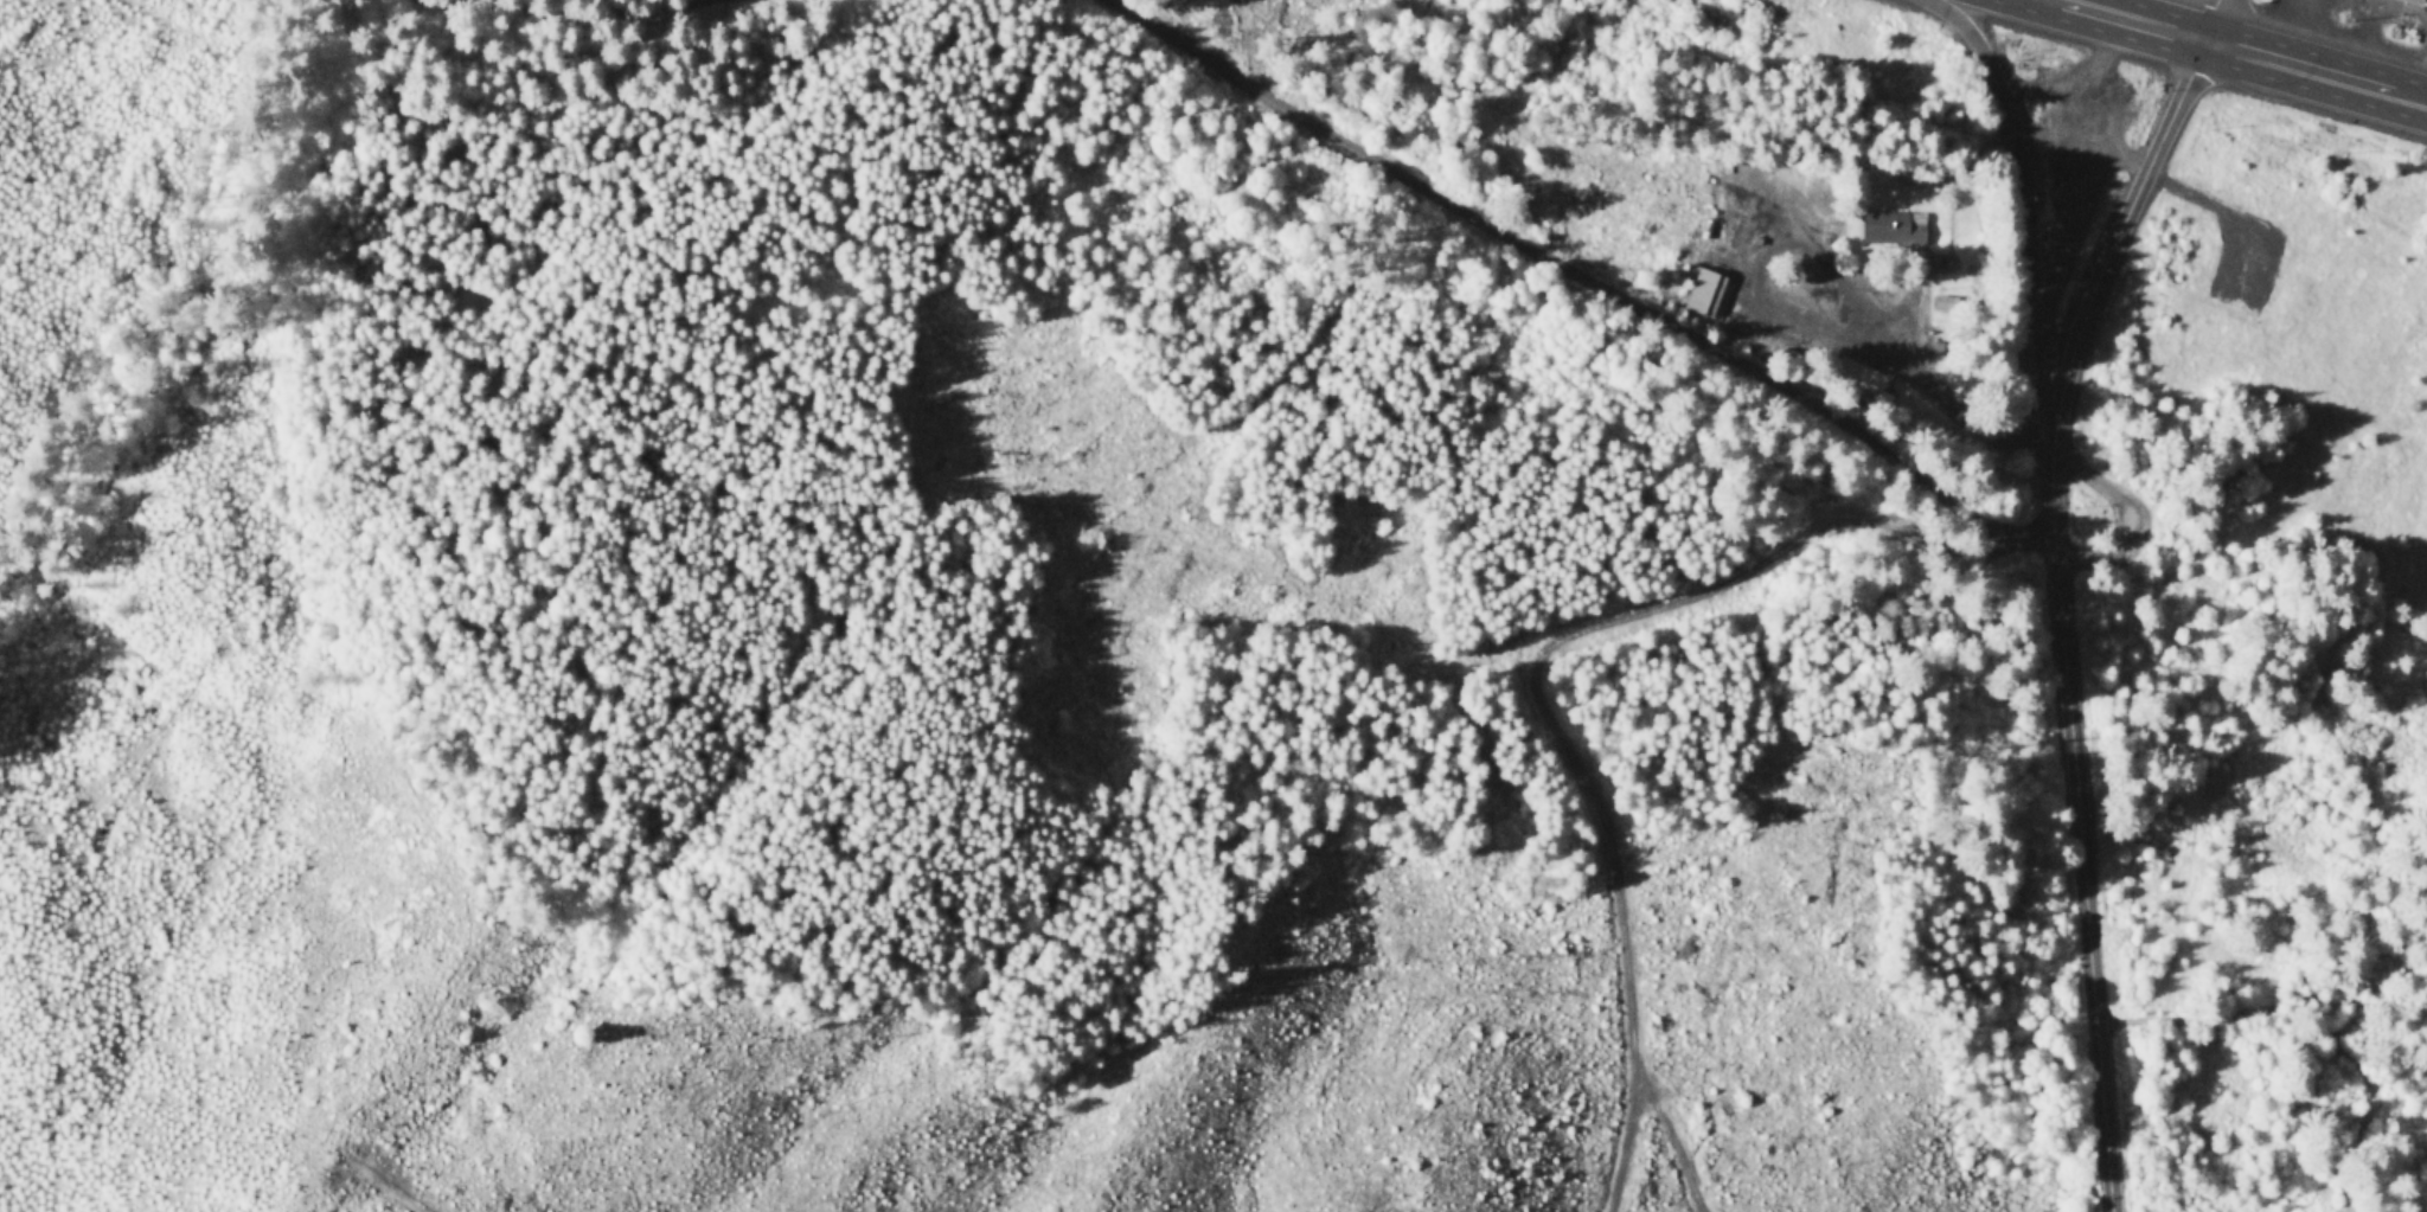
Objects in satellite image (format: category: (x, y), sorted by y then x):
building: (2419, 1)
road: (2210, 15)
road: (2143, 17)
road: (562, 18)
road: (2297, 59)
road: (2409, 91)
road: (2083, 143)
road: (2024, 207)
road: (1734, 222)
building: (1887, 226)
road: (2062, 230)
road: (2118, 233)
road: (1582, 274)
building: (1711, 291)
road: (1949, 399)
road: (1180, 447)
road: (2133, 511)
road: (2081, 827)

